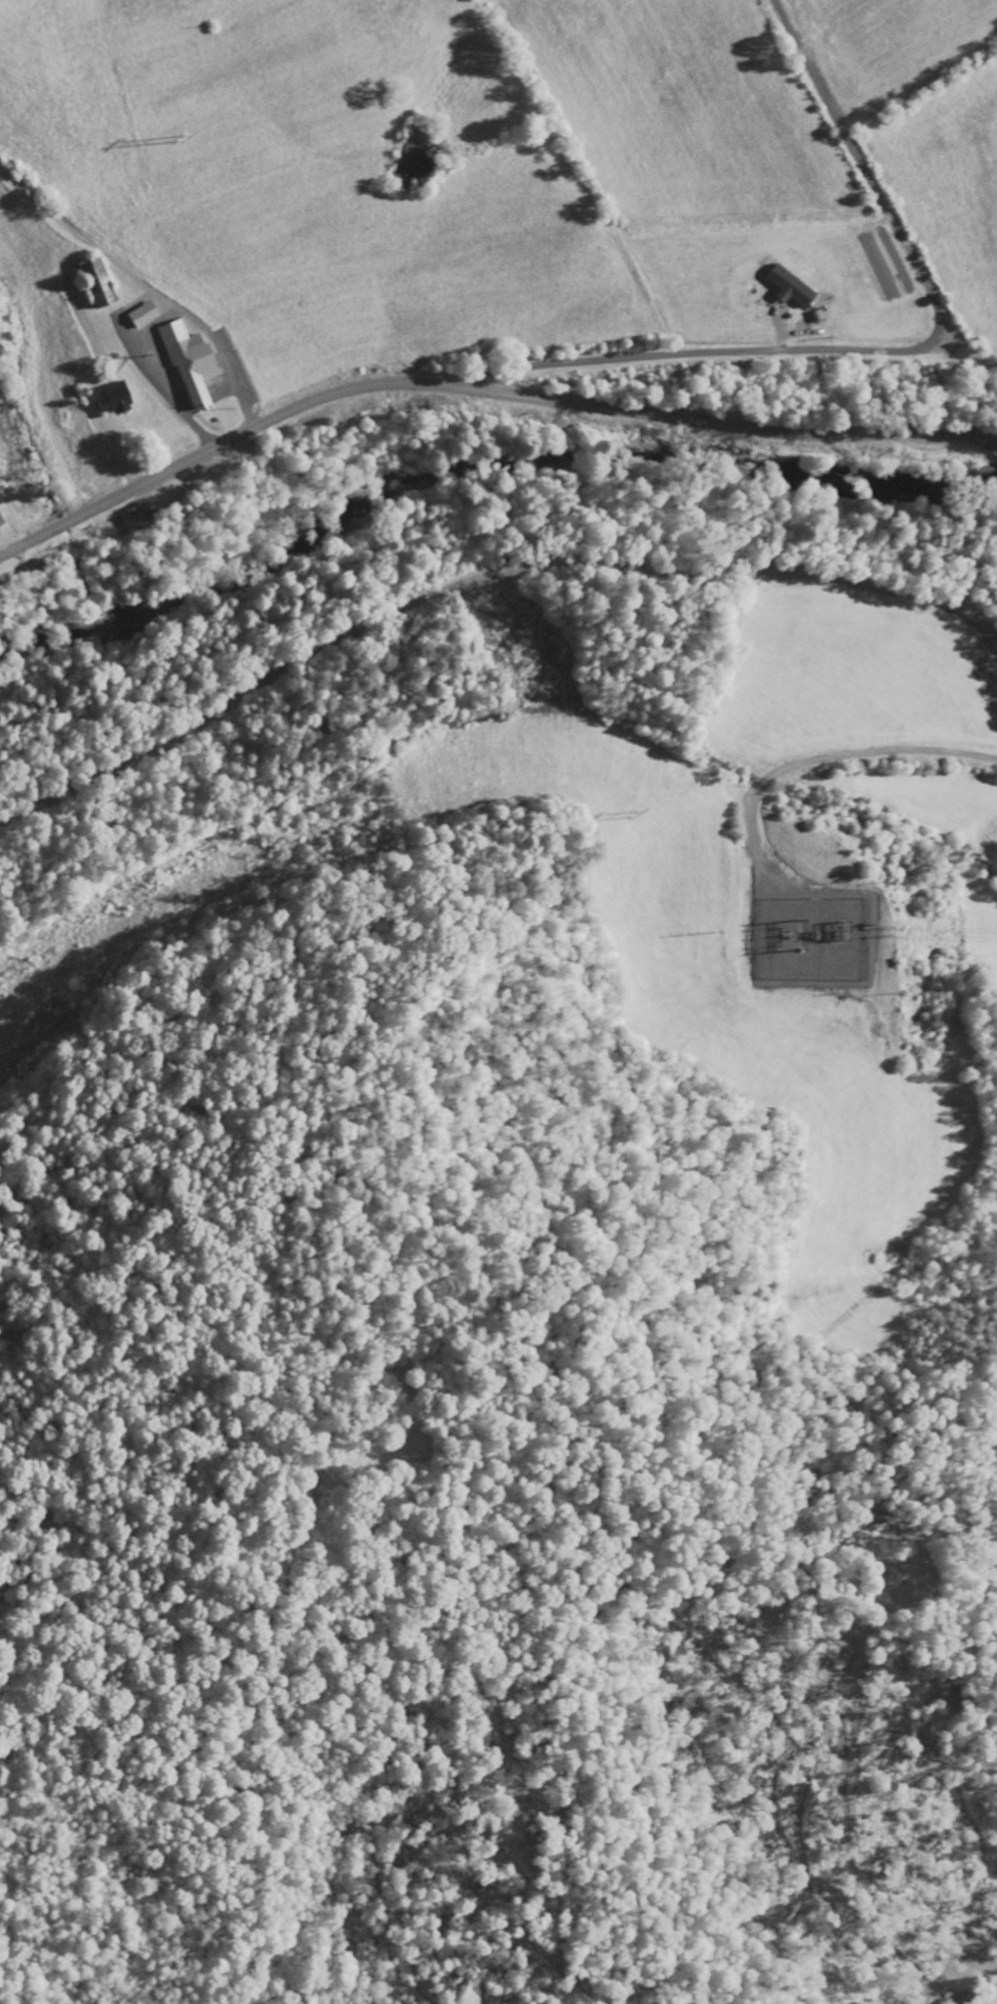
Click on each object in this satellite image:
power tower: (183, 142)
road: (862, 164)
building: (93, 280)
road: (143, 285)
building: (787, 285)
building: (140, 314)
road: (698, 352)
building: (187, 362)
road: (950, 380)
road: (481, 388)
building: (111, 398)
road: (978, 438)
building: (0, 522)
road: (480, 580)
power tower: (636, 815)
power tower: (722, 930)
power tower: (804, 931)
power substation: (817, 937)
road: (845, 1828)

